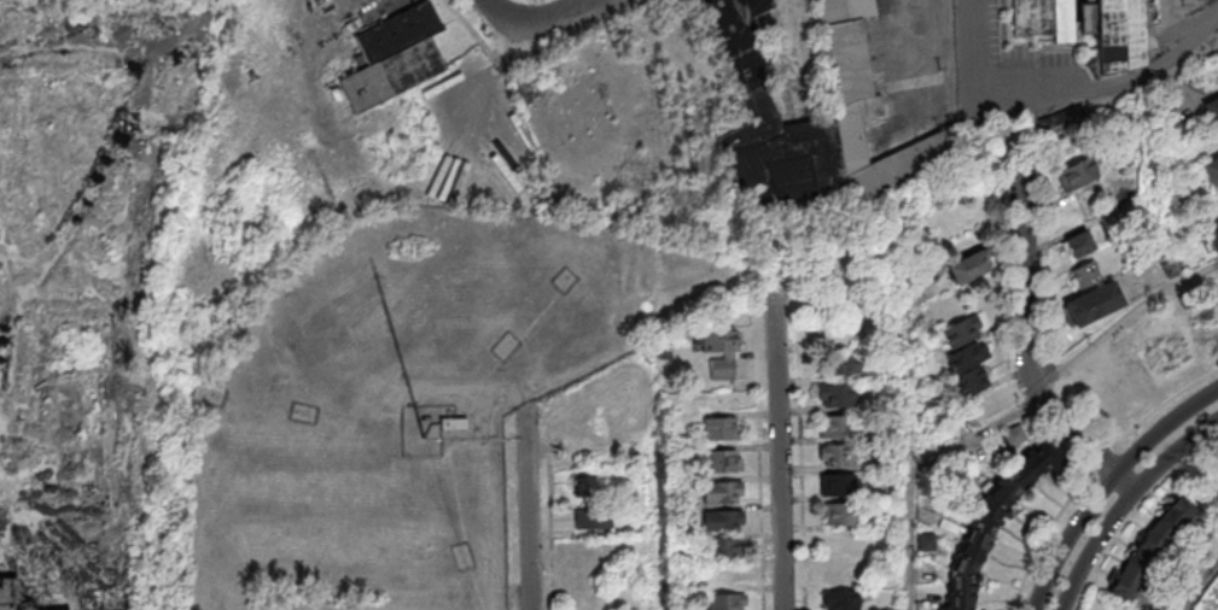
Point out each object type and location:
road: (532, 22)
building: (1086, 27)
building: (394, 57)
road: (1063, 88)
building: (857, 106)
building: (1211, 108)
building: (1060, 117)
building: (1210, 170)
building: (1076, 176)
building: (1212, 237)
building: (1079, 244)
building: (971, 266)
building: (1085, 274)
building: (1094, 303)
road: (1124, 323)
building: (719, 352)
road: (1033, 352)
building: (966, 356)
building: (841, 363)
building: (1121, 363)
building: (835, 395)
building: (835, 426)
building: (722, 428)
building: (590, 430)
road: (780, 446)
building: (837, 454)
building: (722, 461)
road: (917, 469)
building: (584, 483)
road: (1107, 483)
building: (835, 485)
building: (722, 492)
road: (1124, 503)
road: (658, 505)
road: (531, 512)
building: (840, 514)
building: (593, 518)
building: (723, 521)
building: (993, 521)
building: (722, 547)
building: (1150, 549)
road: (1200, 586)
road: (1022, 590)
building: (6, 592)
building: (840, 599)
building: (727, 602)
building: (21, 605)
building: (112, 605)

